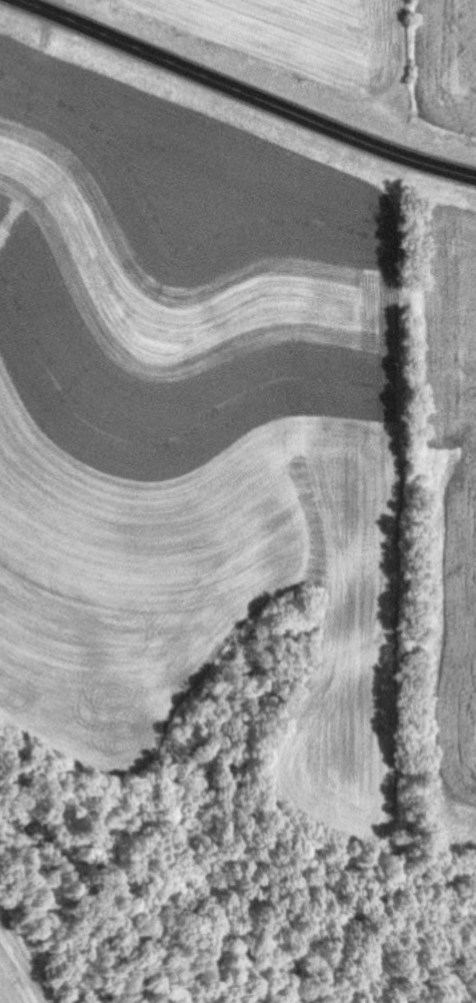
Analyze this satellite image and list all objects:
road: (248, 94)
road: (36, 103)

